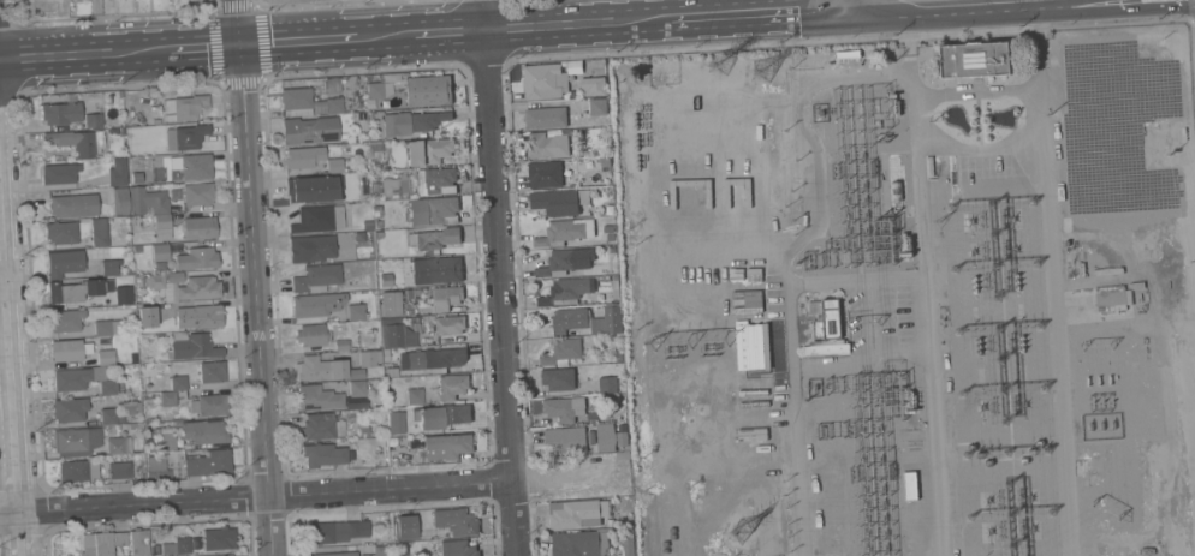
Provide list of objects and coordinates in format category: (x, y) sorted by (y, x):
road: (837, 5)
road: (903, 5)
road: (214, 10)
road: (484, 14)
road: (755, 14)
road: (236, 23)
road: (581, 24)
road: (448, 32)
road: (384, 37)
road: (297, 42)
power tower: (768, 43)
traffic signals: (238, 46)
power tower: (724, 46)
road: (201, 48)
building: (848, 54)
road: (82, 55)
building: (975, 59)
building: (545, 82)
building: (593, 86)
building: (428, 90)
building: (376, 91)
building: (296, 100)
building: (333, 106)
building: (597, 106)
building: (183, 107)
building: (60, 113)
building: (546, 118)
building: (93, 120)
building: (411, 121)
building: (309, 130)
building: (185, 137)
building: (81, 141)
building: (547, 145)
building: (428, 150)
building: (375, 151)
building: (303, 156)
building: (334, 165)
building: (190, 166)
building: (375, 166)
building: (929, 166)
building: (117, 172)
building: (59, 173)
building: (545, 174)
building: (373, 175)
building: (421, 181)
building: (314, 187)
building: (376, 187)
building: (896, 191)
building: (197, 193)
building: (119, 201)
building: (147, 201)
building: (559, 202)
building: (72, 205)
building: (376, 210)
building: (433, 210)
building: (313, 219)
building: (377, 223)
building: (367, 225)
building: (162, 226)
building: (198, 228)
building: (610, 228)
building: (60, 232)
building: (99, 232)
building: (565, 232)
building: (368, 237)
building: (610, 237)
building: (433, 238)
building: (315, 246)
building: (137, 247)
building: (159, 252)
building: (368, 253)
building: (196, 258)
building: (566, 259)
building: (63, 263)
building: (109, 267)
building: (436, 269)
building: (129, 271)
building: (316, 277)
building: (385, 279)
road: (1, 281)
building: (153, 281)
building: (198, 287)
building: (77, 289)
building: (564, 292)
road: (499, 293)
building: (123, 294)
power substation: (912, 295)
building: (446, 297)
building: (1111, 298)
road: (257, 300)
building: (753, 301)
building: (390, 303)
building: (316, 304)
building: (172, 310)
building: (355, 311)
building: (145, 317)
building: (203, 317)
building: (613, 318)
building: (569, 319)
building: (64, 321)
building: (441, 325)
building: (108, 327)
building: (827, 330)
building: (165, 335)
building: (311, 335)
building: (393, 335)
building: (341, 345)
building: (191, 346)
building: (749, 347)
building: (69, 349)
building: (563, 352)
building: (386, 354)
building: (105, 357)
building: (618, 357)
building: (367, 358)
building: (435, 358)
building: (320, 369)
building: (210, 371)
building: (71, 378)
building: (558, 378)
building: (178, 382)
building: (610, 383)
building: (451, 385)
road: (10, 387)
building: (107, 387)
road: (227, 387)
building: (357, 388)
building: (414, 396)
building: (167, 397)
building: (319, 397)
building: (209, 405)
building: (127, 407)
building: (69, 408)
building: (564, 408)
building: (108, 415)
building: (444, 415)
building: (119, 419)
building: (396, 422)
building: (132, 425)
building: (321, 426)
building: (363, 430)
building: (203, 431)
building: (622, 436)
building: (165, 437)
building: (606, 437)
building: (76, 438)
building: (566, 438)
building: (118, 444)
building: (447, 446)
building: (379, 453)
building: (322, 454)
building: (209, 462)
building: (157, 467)
building: (119, 468)
building: (78, 470)
building: (910, 485)
road: (299, 494)
building: (577, 513)
building: (396, 515)
building: (454, 522)
building: (608, 522)
building: (404, 530)
building: (334, 532)
building: (219, 537)
building: (120, 538)
power tower: (747, 538)
building: (138, 543)
building: (582, 543)
building: (96, 544)
building: (182, 545)
building: (167, 546)
building: (628, 546)
building: (196, 548)
building: (457, 548)
building: (400, 549)
building: (379, 551)
building: (337, 554)
building: (214, 555)
building: (227, 555)

